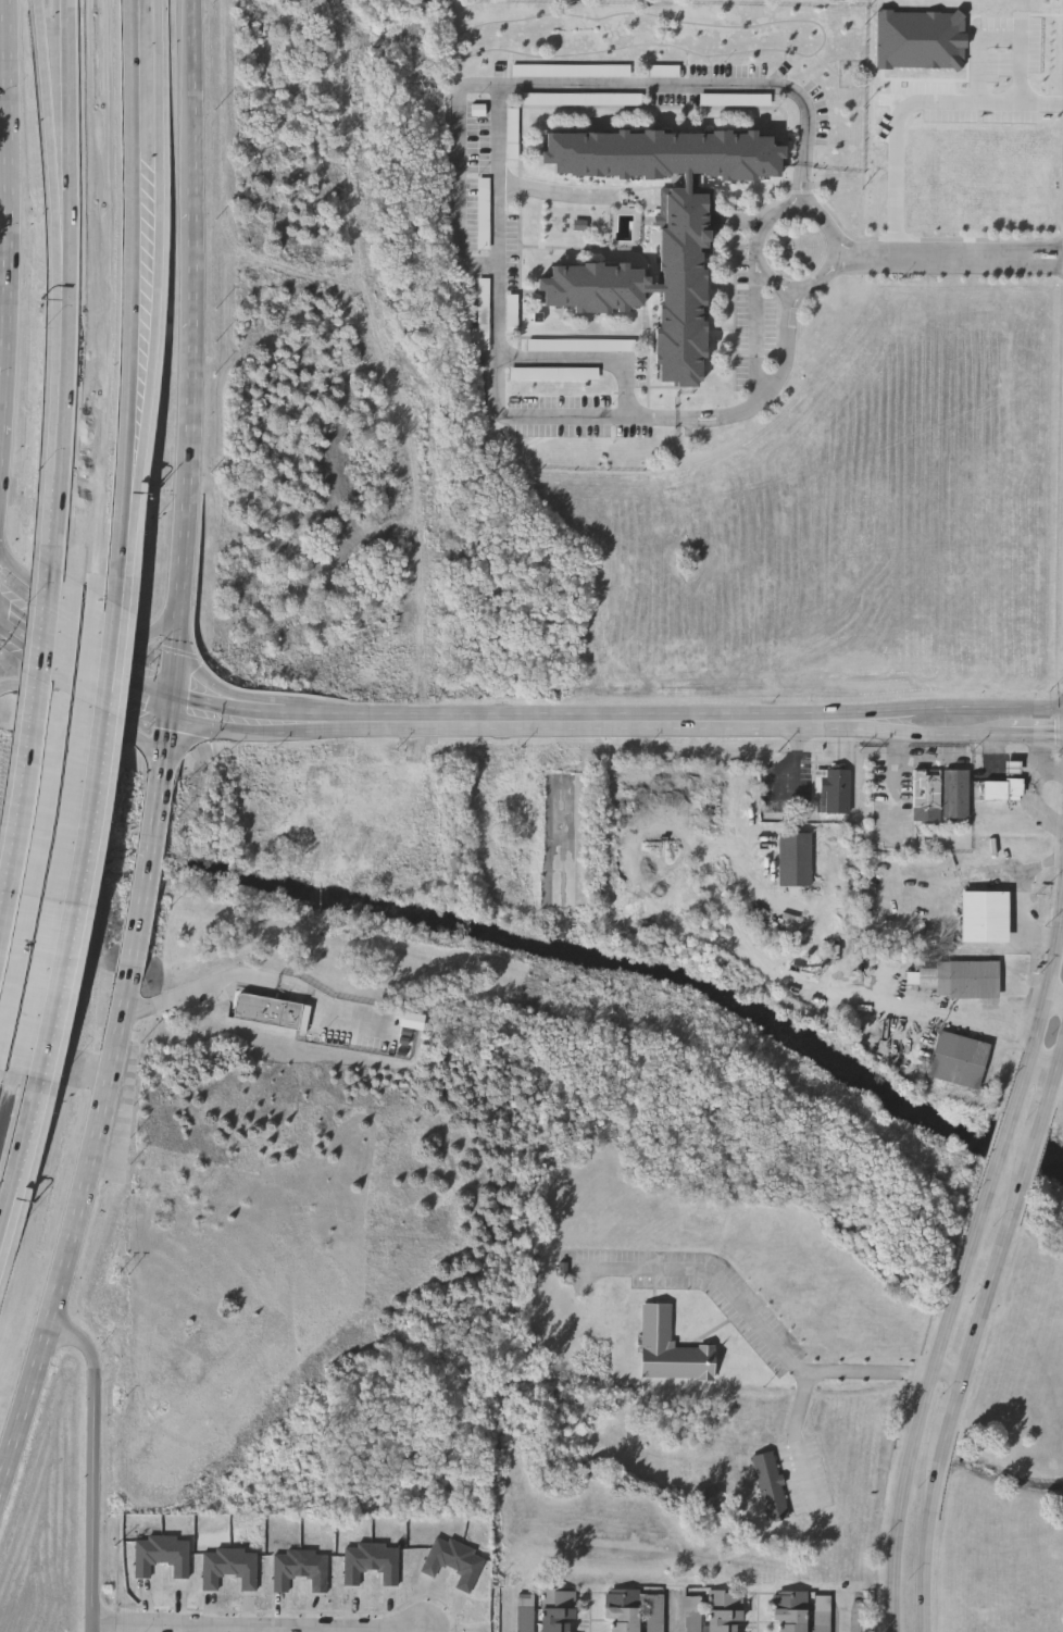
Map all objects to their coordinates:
road: (1000, 37)
building: (571, 72)
road: (3, 79)
building: (583, 100)
road: (906, 103)
building: (512, 135)
road: (54, 177)
road: (71, 178)
road: (508, 183)
road: (4, 186)
road: (796, 210)
building: (484, 215)
road: (499, 223)
road: (460, 226)
building: (659, 229)
road: (949, 258)
road: (134, 264)
road: (159, 266)
road: (2, 274)
building: (512, 314)
building: (484, 315)
road: (187, 351)
road: (588, 358)
building: (553, 375)
road: (0, 385)
road: (60, 463)
road: (115, 566)
road: (91, 622)
road: (49, 648)
road: (242, 694)
traffic signals: (173, 702)
road: (941, 706)
road: (96, 719)
road: (459, 722)
road: (941, 733)
road: (29, 734)
road: (166, 747)
road: (793, 759)
road: (895, 781)
building: (926, 784)
building: (1001, 787)
building: (831, 788)
road: (74, 842)
building: (793, 857)
road: (143, 885)
building: (984, 913)
road: (1061, 937)
building: (961, 976)
road: (280, 981)
road: (189, 994)
road: (1055, 994)
road: (1042, 1010)
building: (272, 1013)
road: (964, 1014)
building: (958, 1057)
road: (1045, 1061)
road: (1051, 1082)
road: (1003, 1144)
road: (1028, 1153)
road: (17, 1156)
road: (71, 1228)
road: (990, 1280)
road: (772, 1341)
building: (671, 1348)
road: (923, 1399)
road: (952, 1410)
road: (795, 1431)
park: (1014, 1435)
park: (1017, 1455)
road: (91, 1463)
building: (771, 1485)
road: (790, 1532)
road: (927, 1537)
building: (162, 1556)
building: (454, 1561)
building: (371, 1562)
building: (229, 1567)
building: (300, 1569)
building: (692, 1603)
building: (558, 1610)
building: (623, 1610)
building: (724, 1610)
building: (789, 1611)
road: (511, 1612)
road: (679, 1614)
road: (850, 1615)
building: (821, 1620)
road: (258, 1627)

